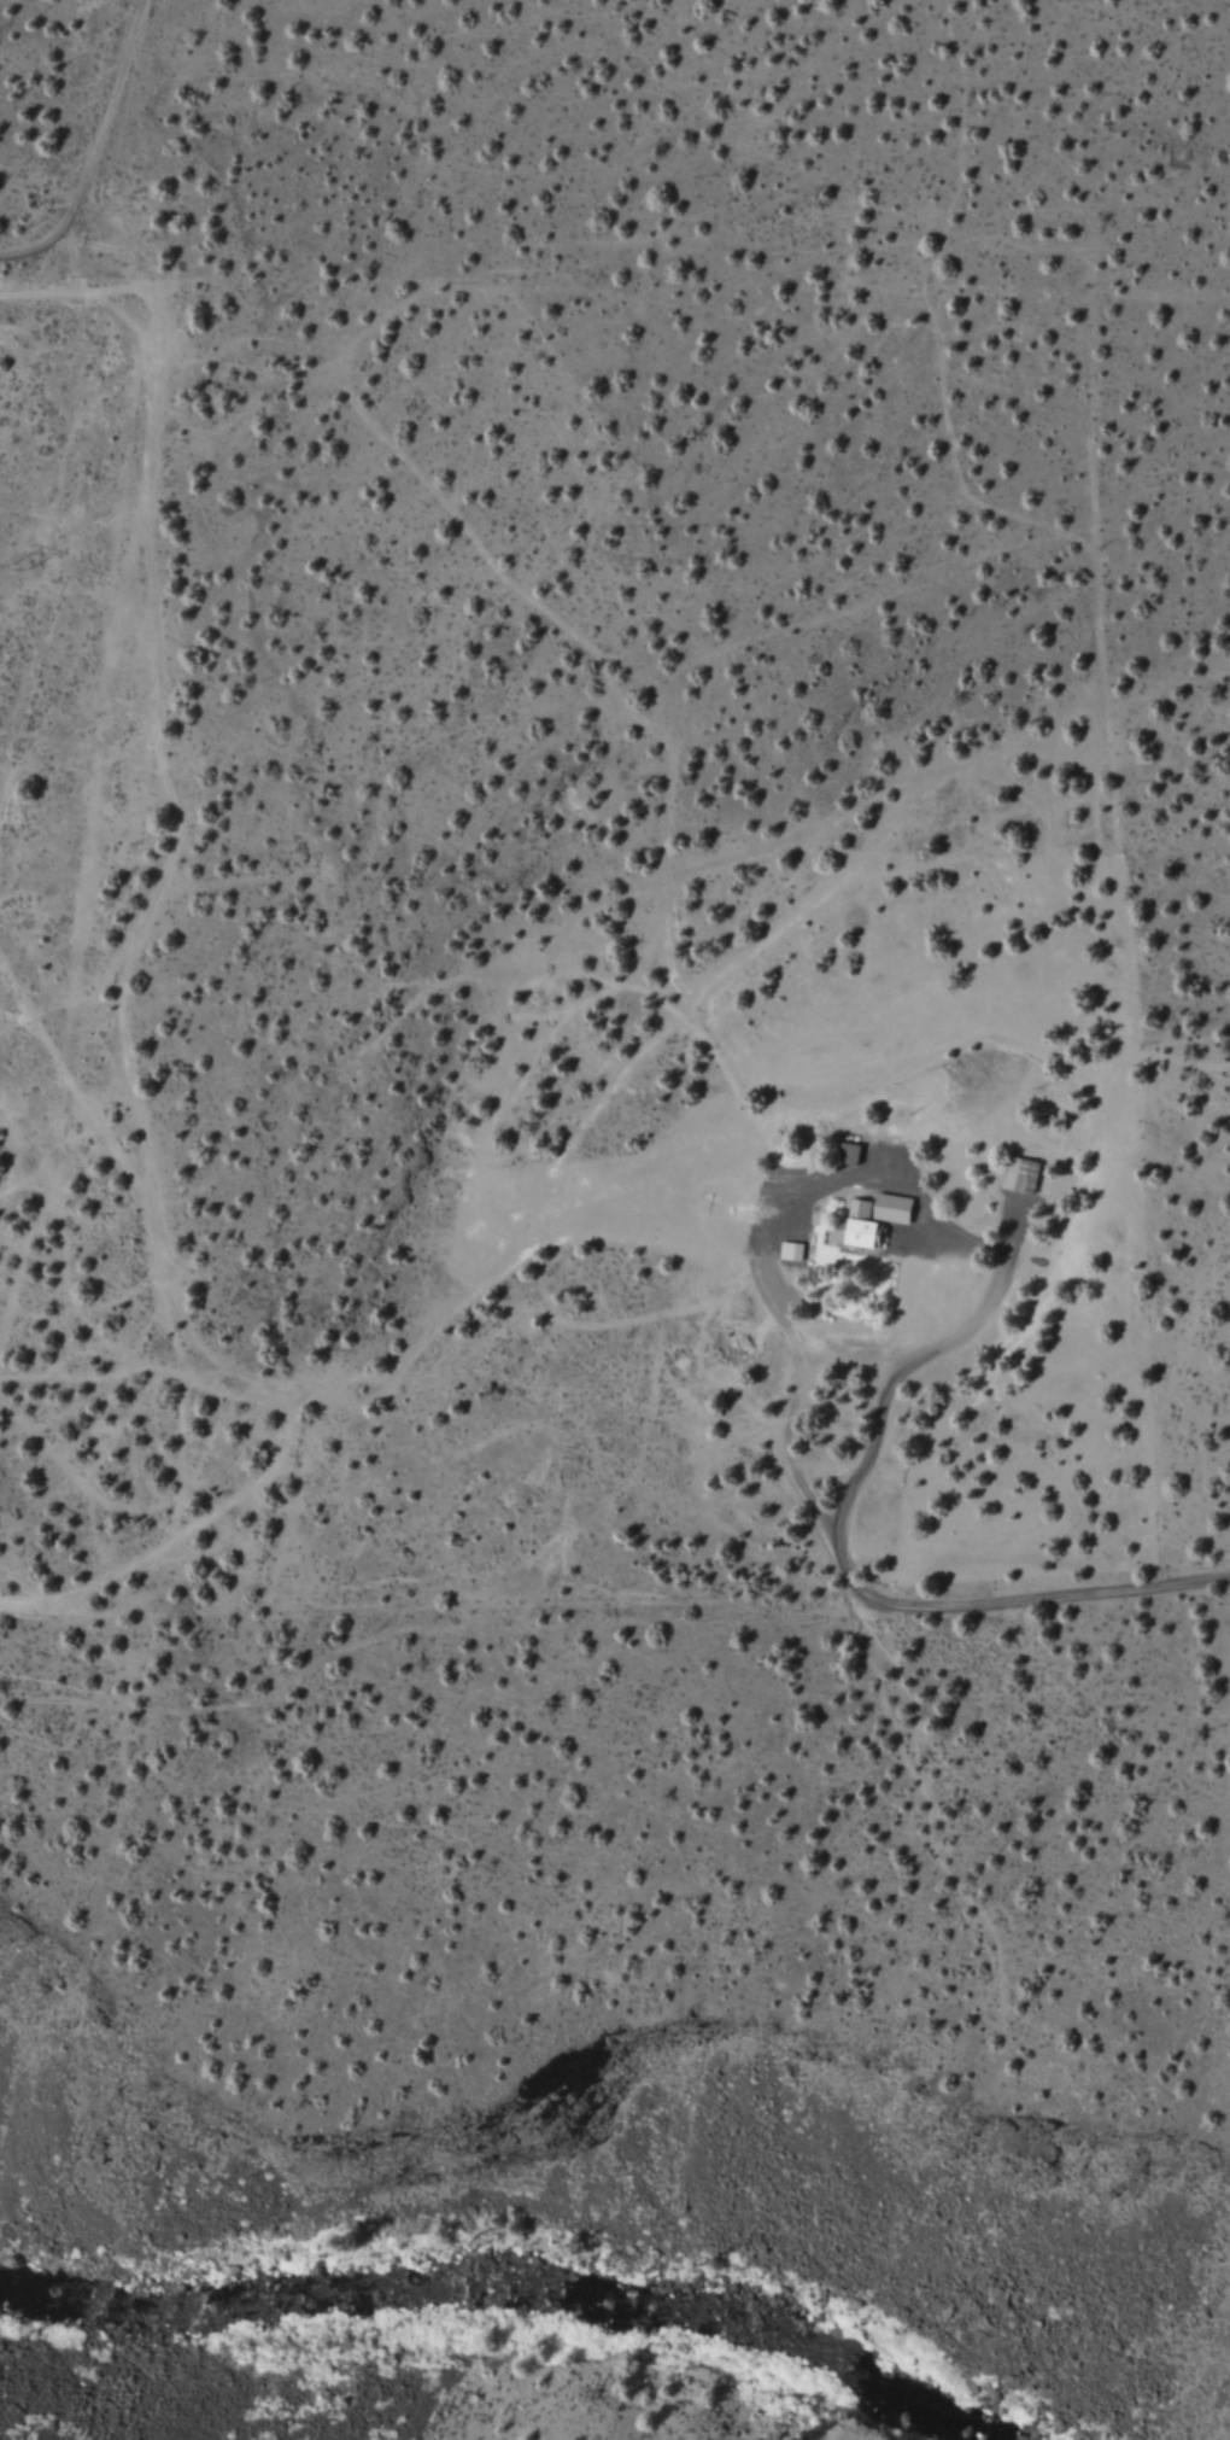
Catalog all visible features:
road: (90, 145)
power tower: (19, 566)
building: (1015, 1174)
building: (869, 1218)
road: (573, 1446)
river: (470, 2287)

